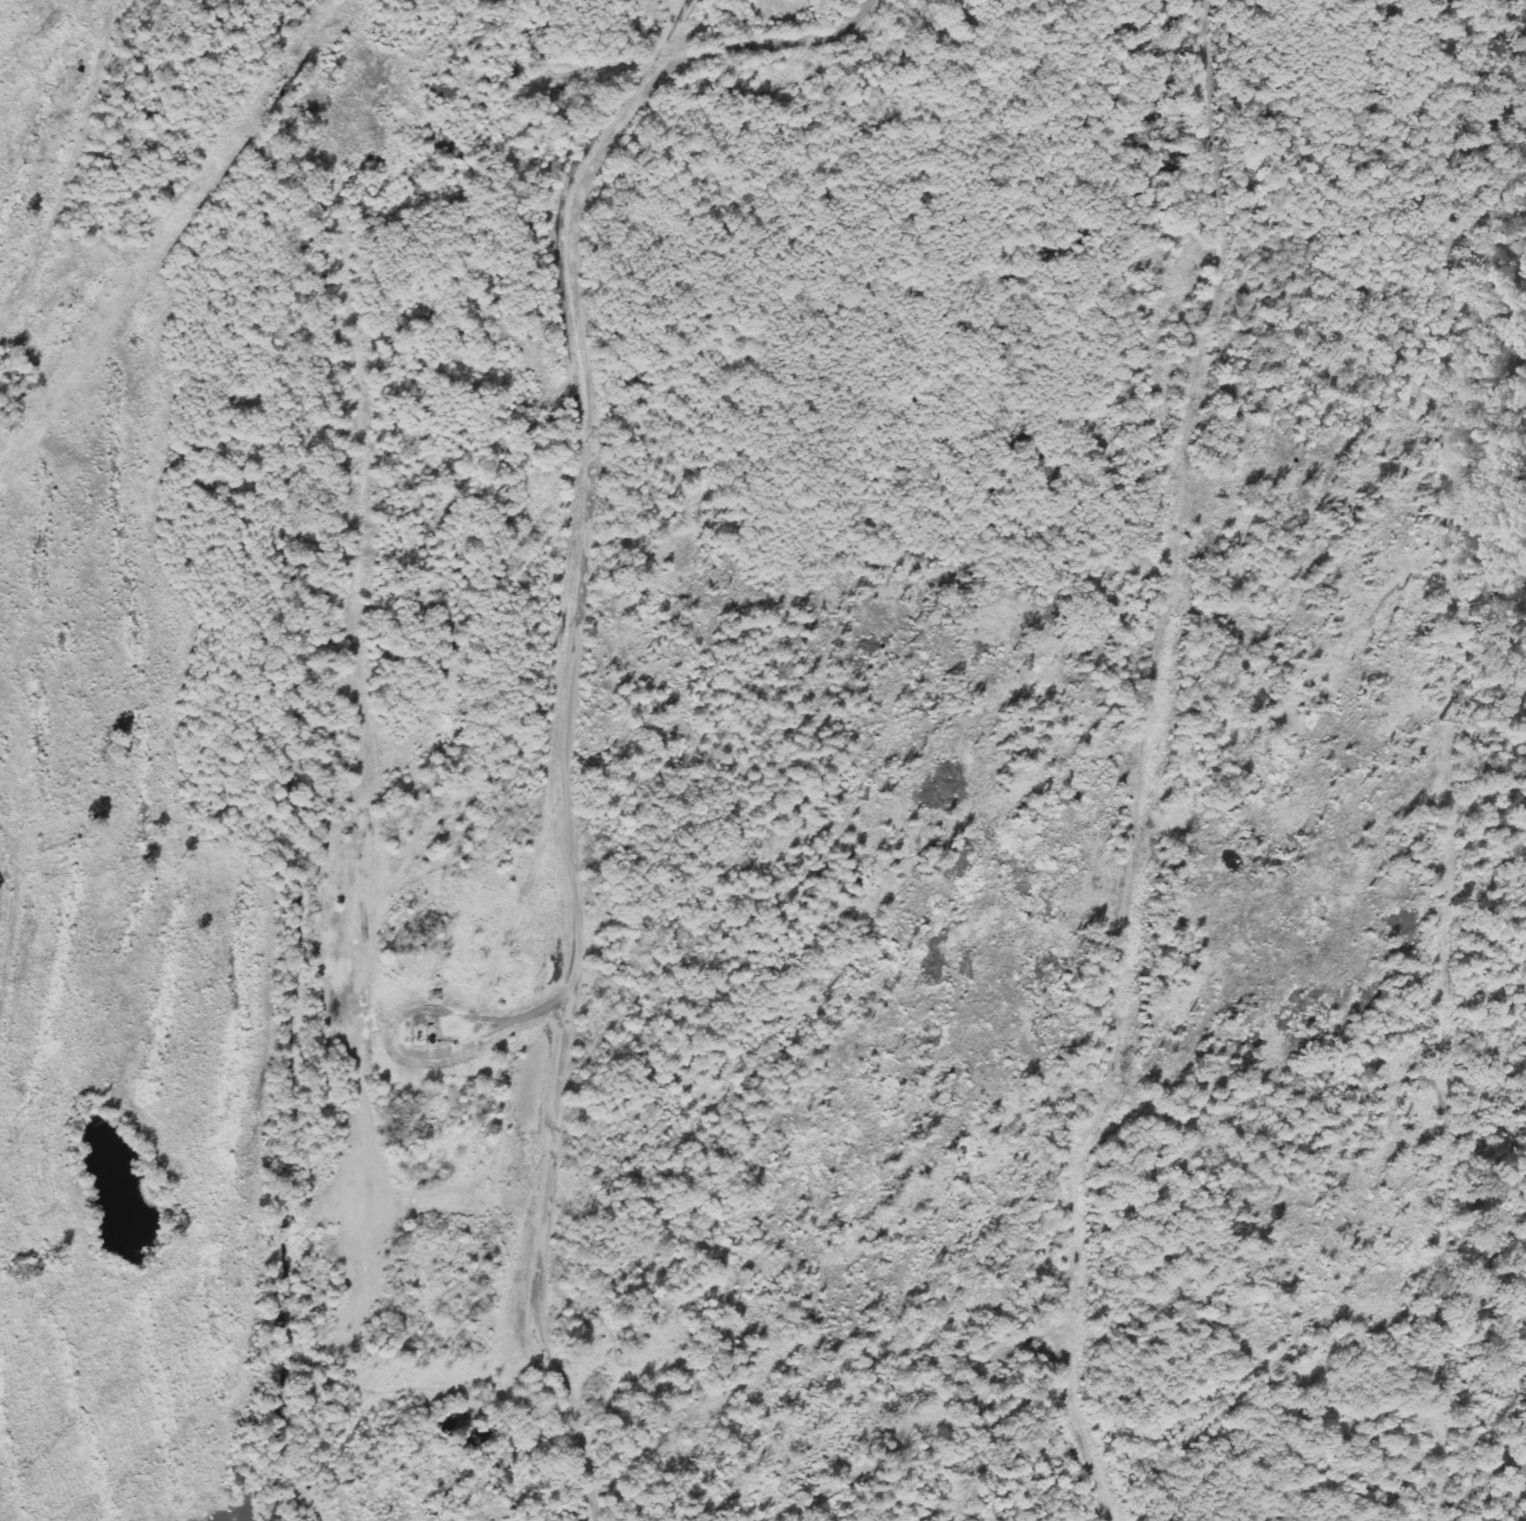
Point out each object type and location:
road: (575, 674)

